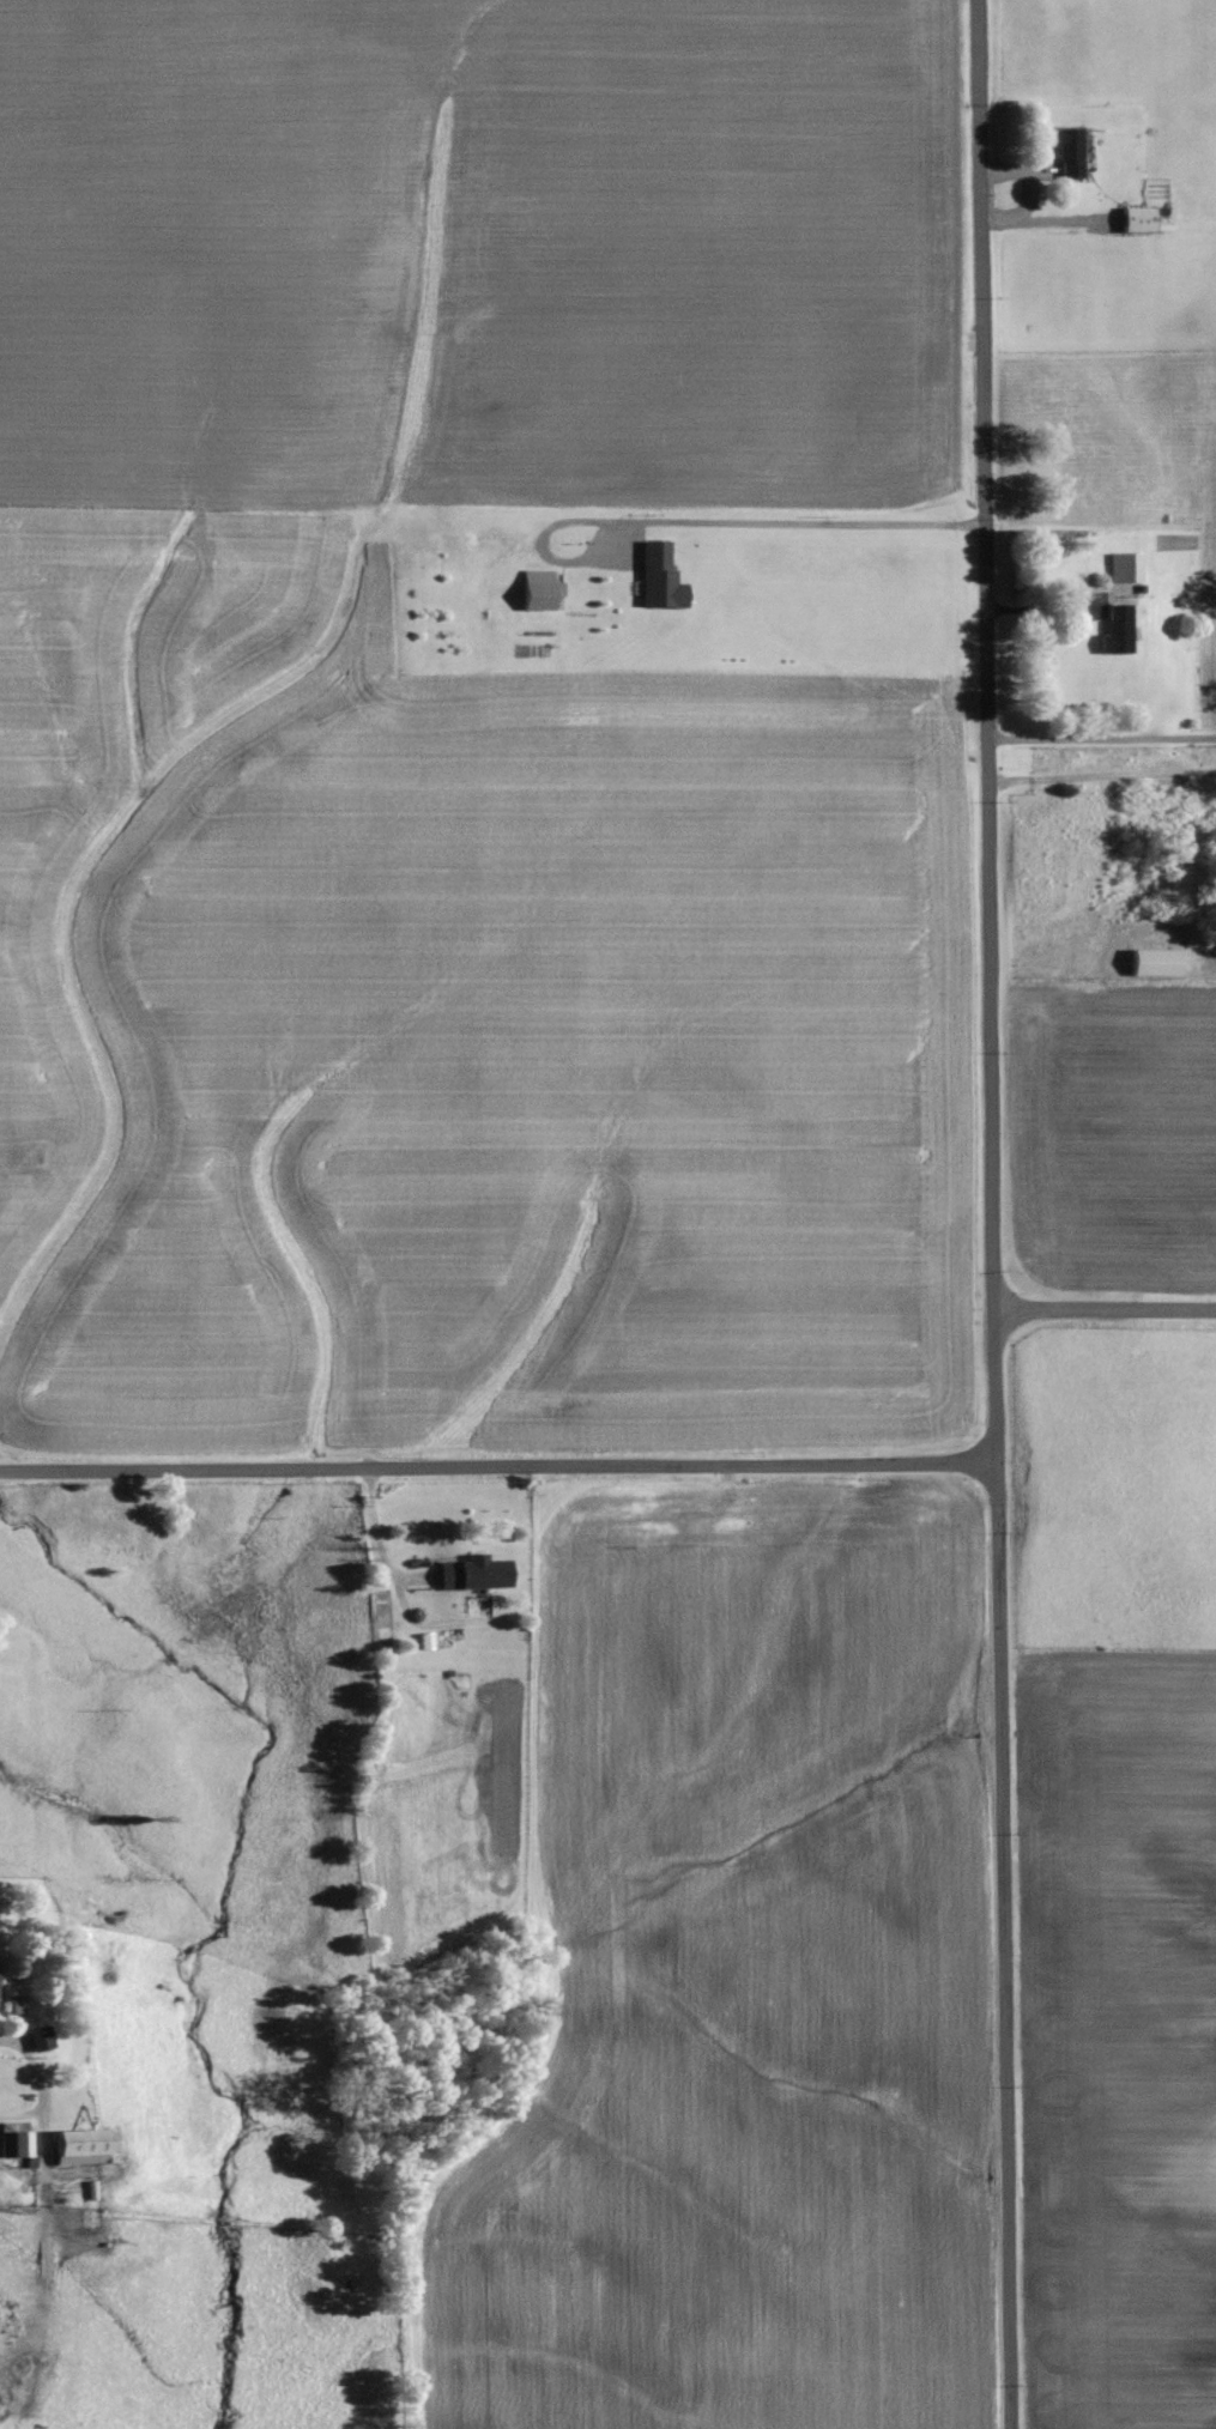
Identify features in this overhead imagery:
building: (1070, 152)
building: (1138, 220)
road: (799, 521)
building: (1124, 568)
building: (660, 579)
building: (542, 592)
building: (1117, 631)
road: (987, 655)
road: (1102, 739)
road: (1102, 777)
building: (1155, 964)
road: (1106, 1312)
road: (996, 1383)
road: (497, 1465)
road: (380, 1540)
building: (476, 1574)
road: (1000, 1943)
building: (38, 2039)
road: (10, 2082)
building: (85, 2146)

